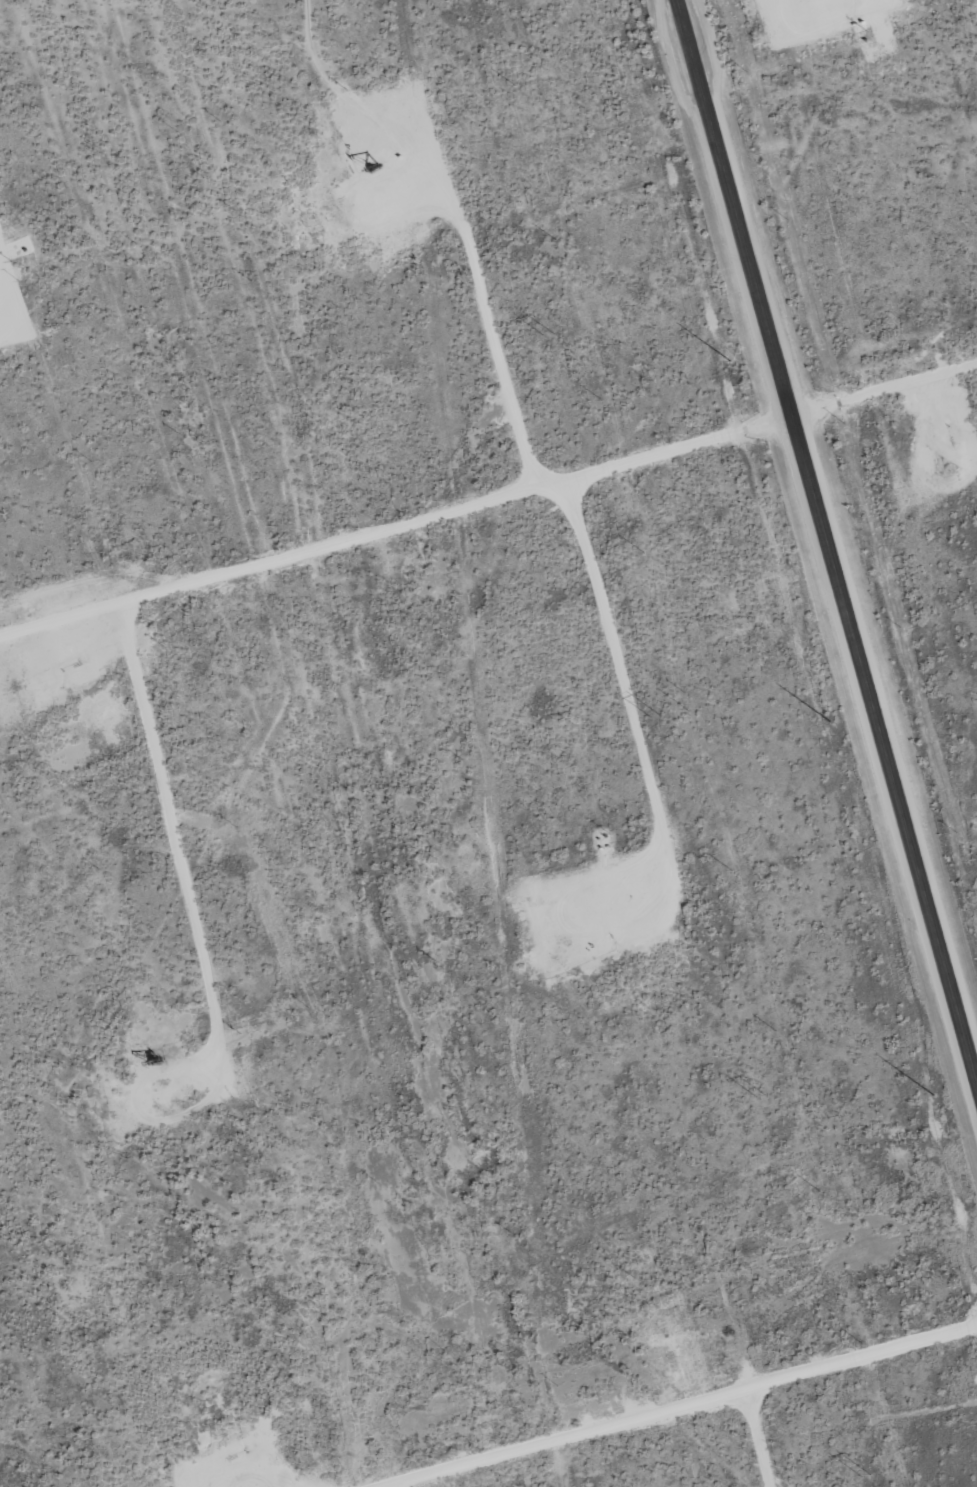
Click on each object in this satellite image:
power tower: (551, 335)
road: (489, 507)
road: (826, 541)
power tower: (656, 716)
power tower: (761, 1094)
road: (670, 1401)
road: (756, 1434)
power tower: (867, 1475)

